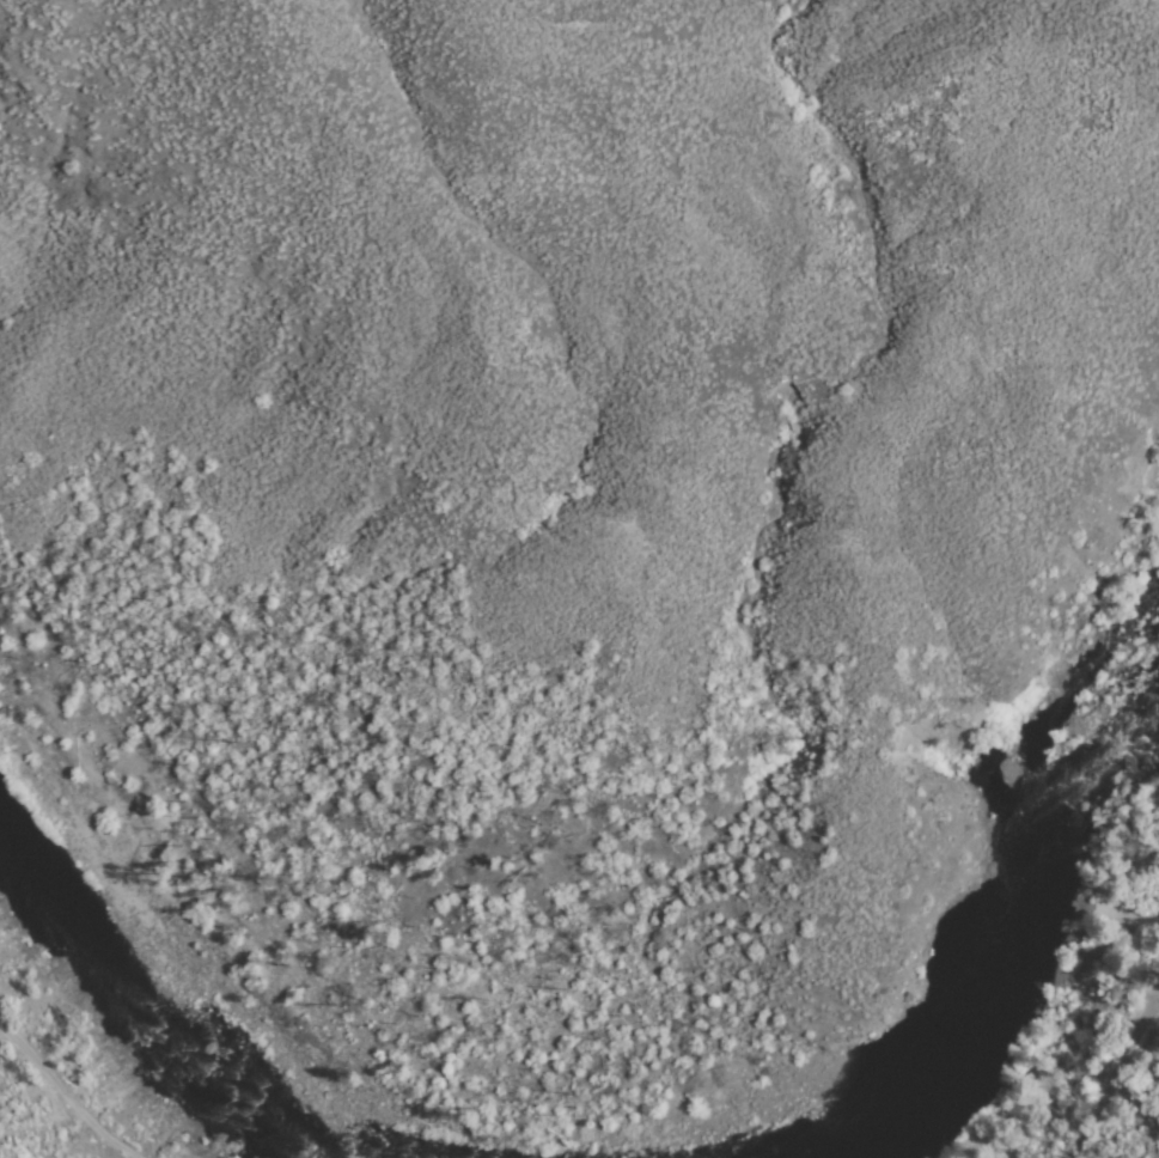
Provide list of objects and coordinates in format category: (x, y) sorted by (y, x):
river: (1005, 930)
river: (173, 999)
road: (1114, 1073)
road: (62, 1097)

